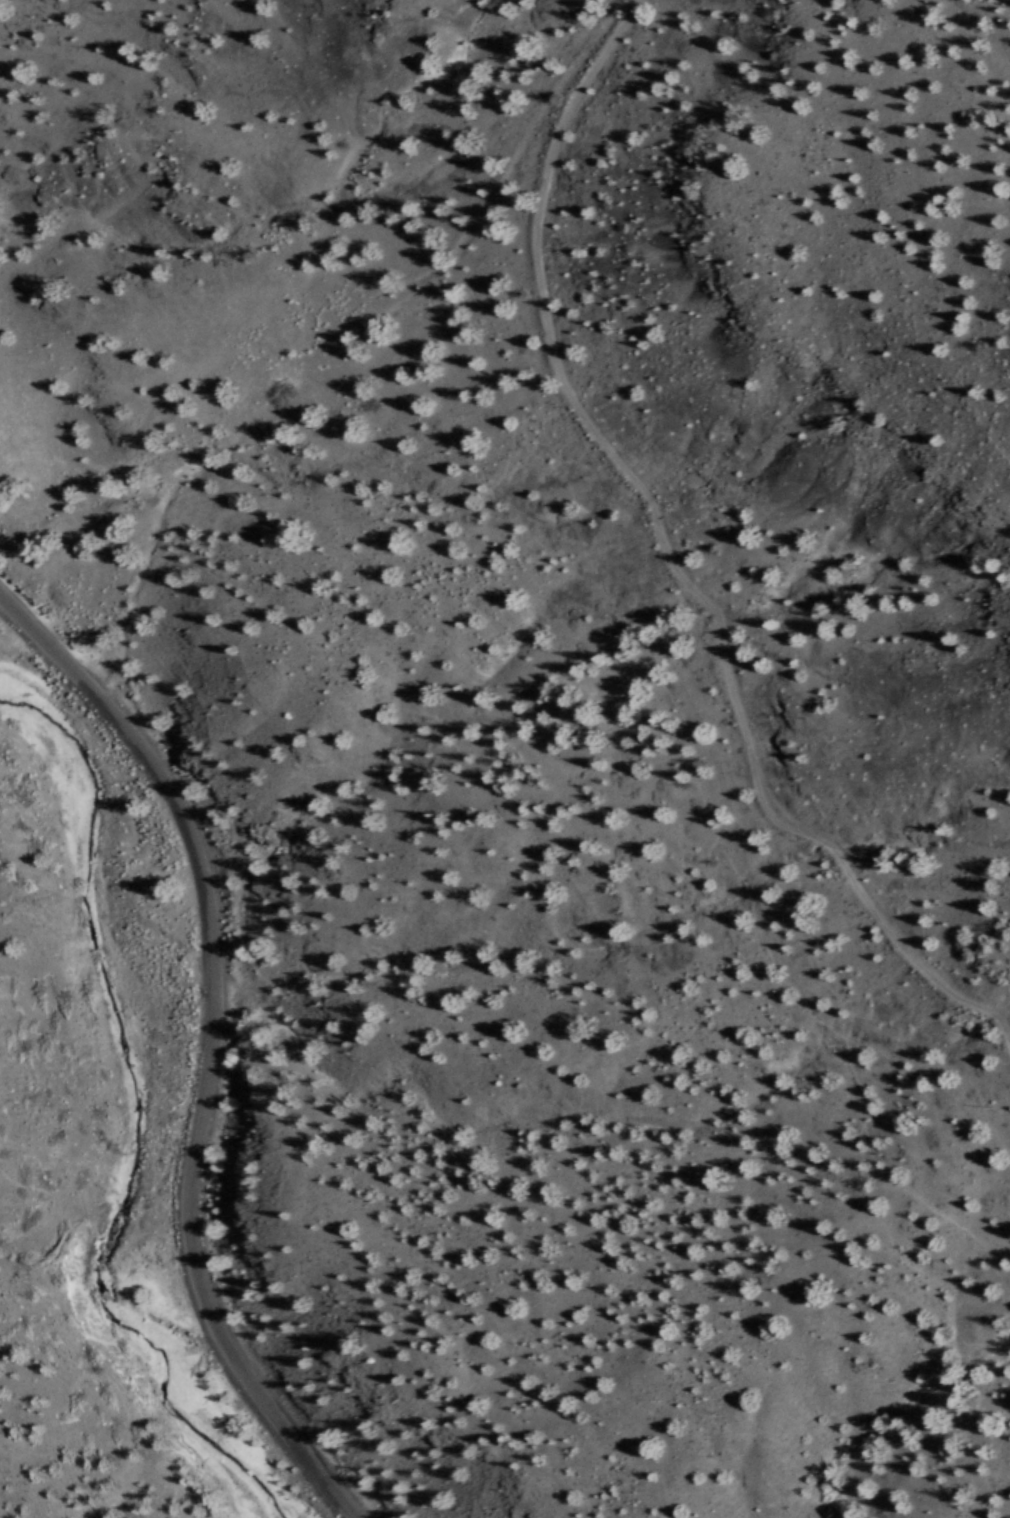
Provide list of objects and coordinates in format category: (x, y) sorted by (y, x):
road: (252, 1011)

